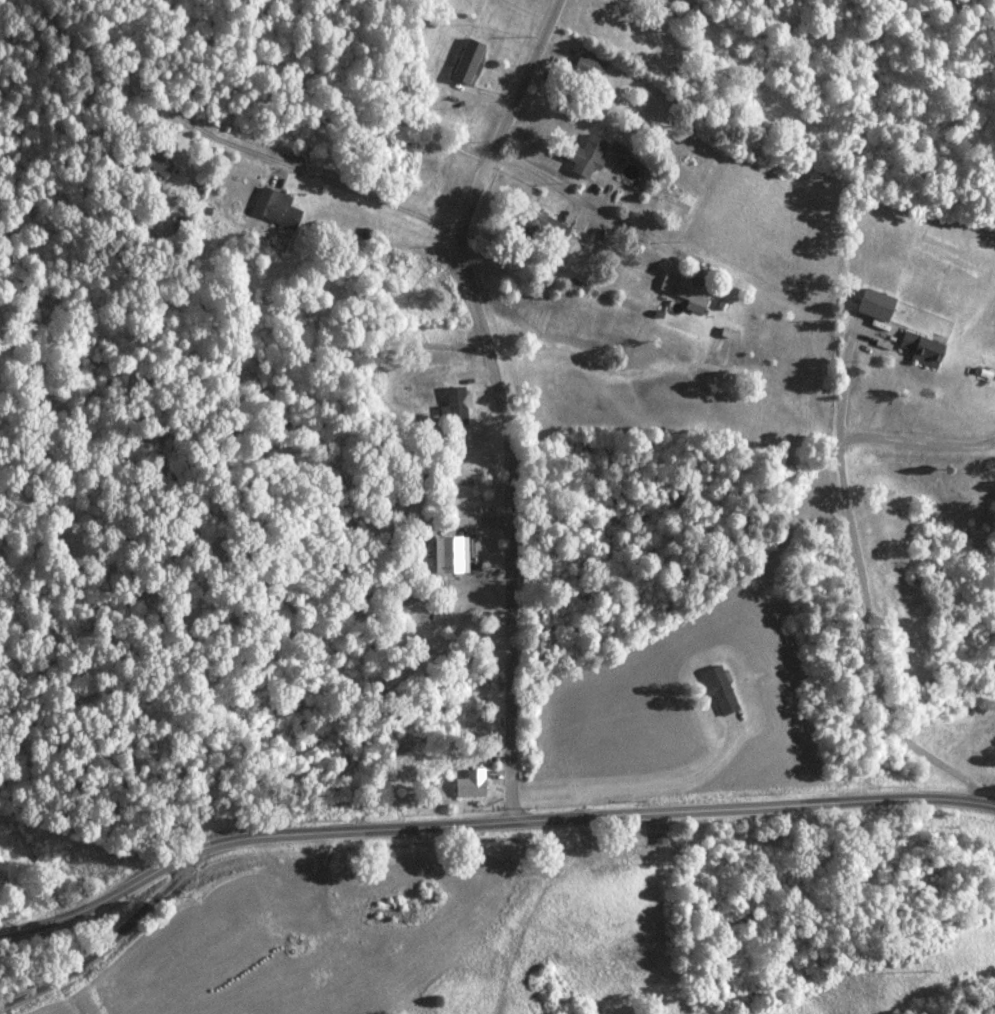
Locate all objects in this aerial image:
building: (469, 62)
building: (586, 156)
road: (315, 180)
building: (278, 208)
building: (183, 223)
building: (554, 227)
building: (695, 294)
building: (879, 305)
building: (924, 350)
road: (503, 417)
building: (451, 556)
road: (868, 608)
building: (723, 691)
building: (471, 784)
road: (487, 822)
road: (105, 943)

